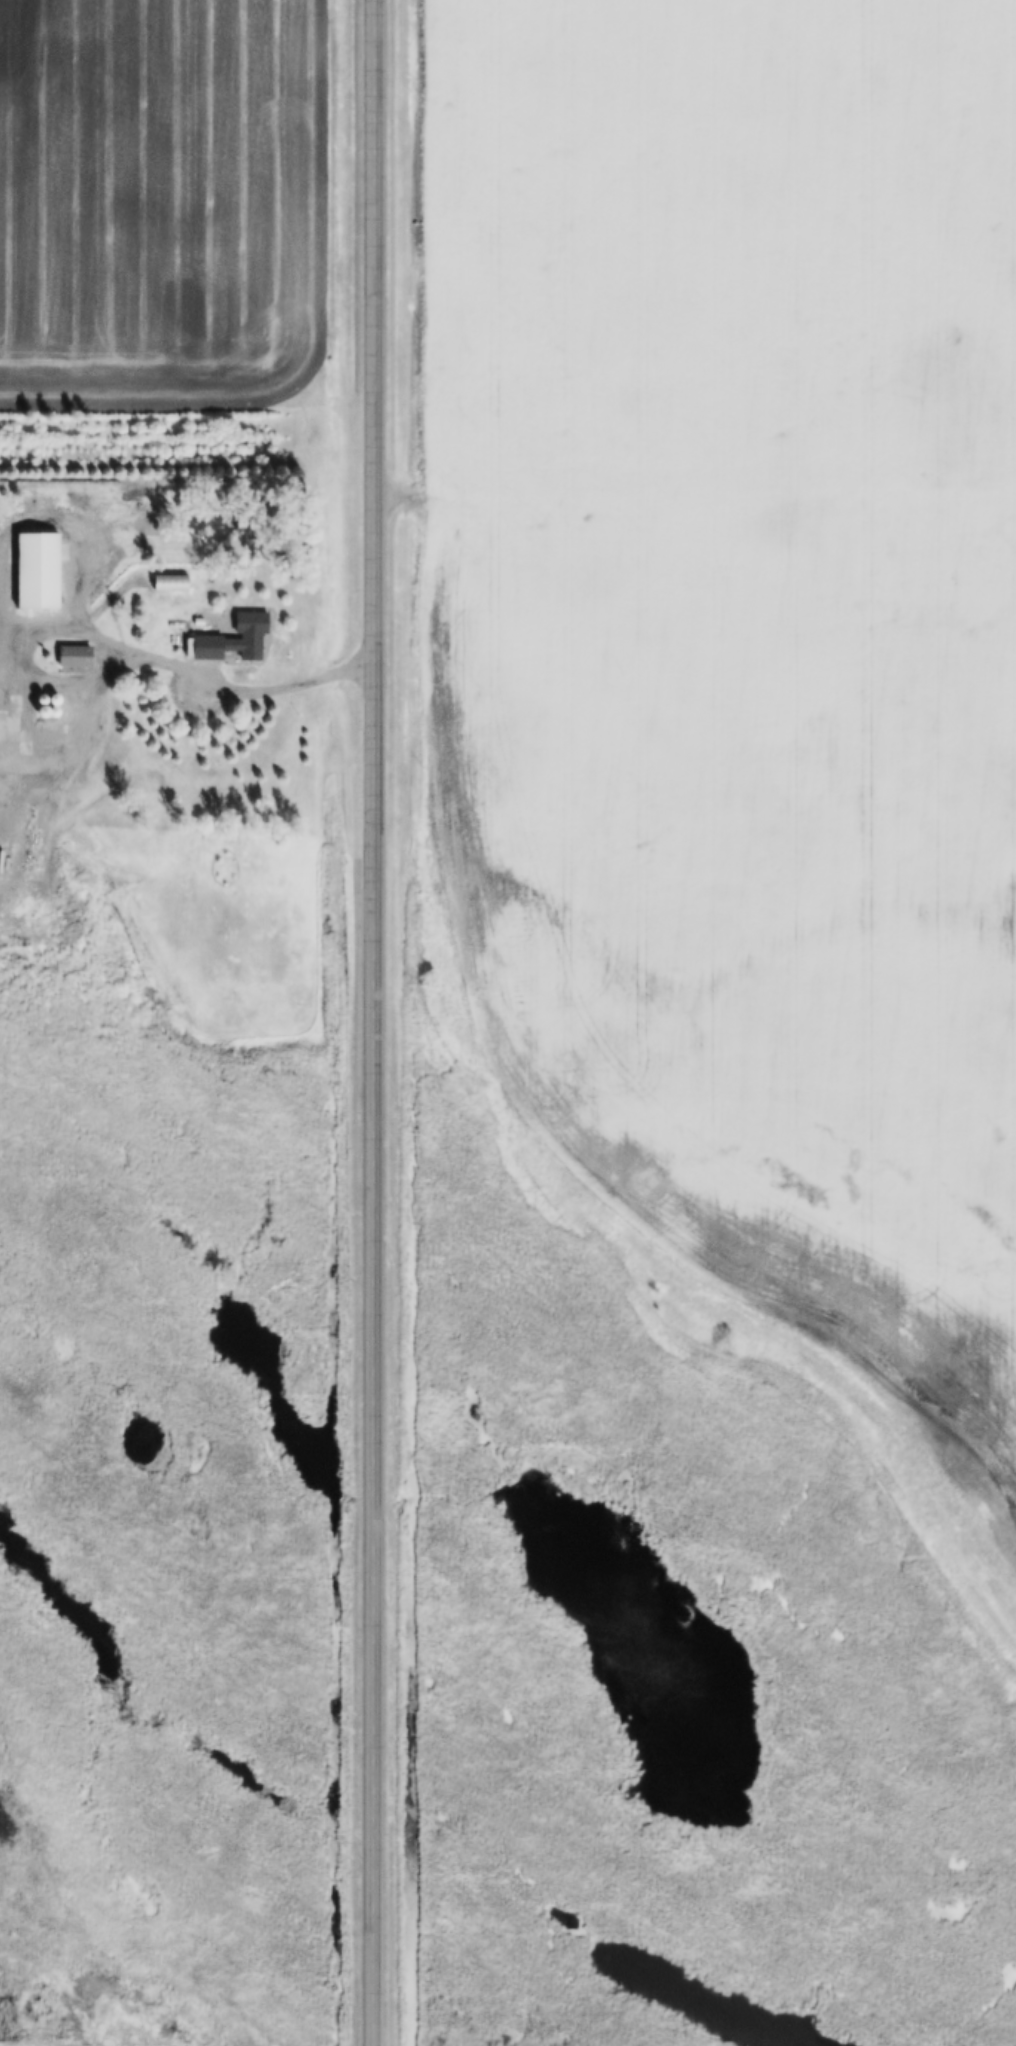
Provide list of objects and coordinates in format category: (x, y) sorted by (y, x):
building: (30, 554)
building: (169, 580)
building: (167, 625)
building: (537, 632)
building: (233, 637)
road: (111, 644)
building: (74, 655)
building: (39, 701)
silo: (39, 701)
building: (52, 701)
silo: (52, 701)
building: (65, 702)
silo: (65, 702)
building: (69, 714)
silo: (69, 714)
building: (32, 729)
road: (372, 1023)

